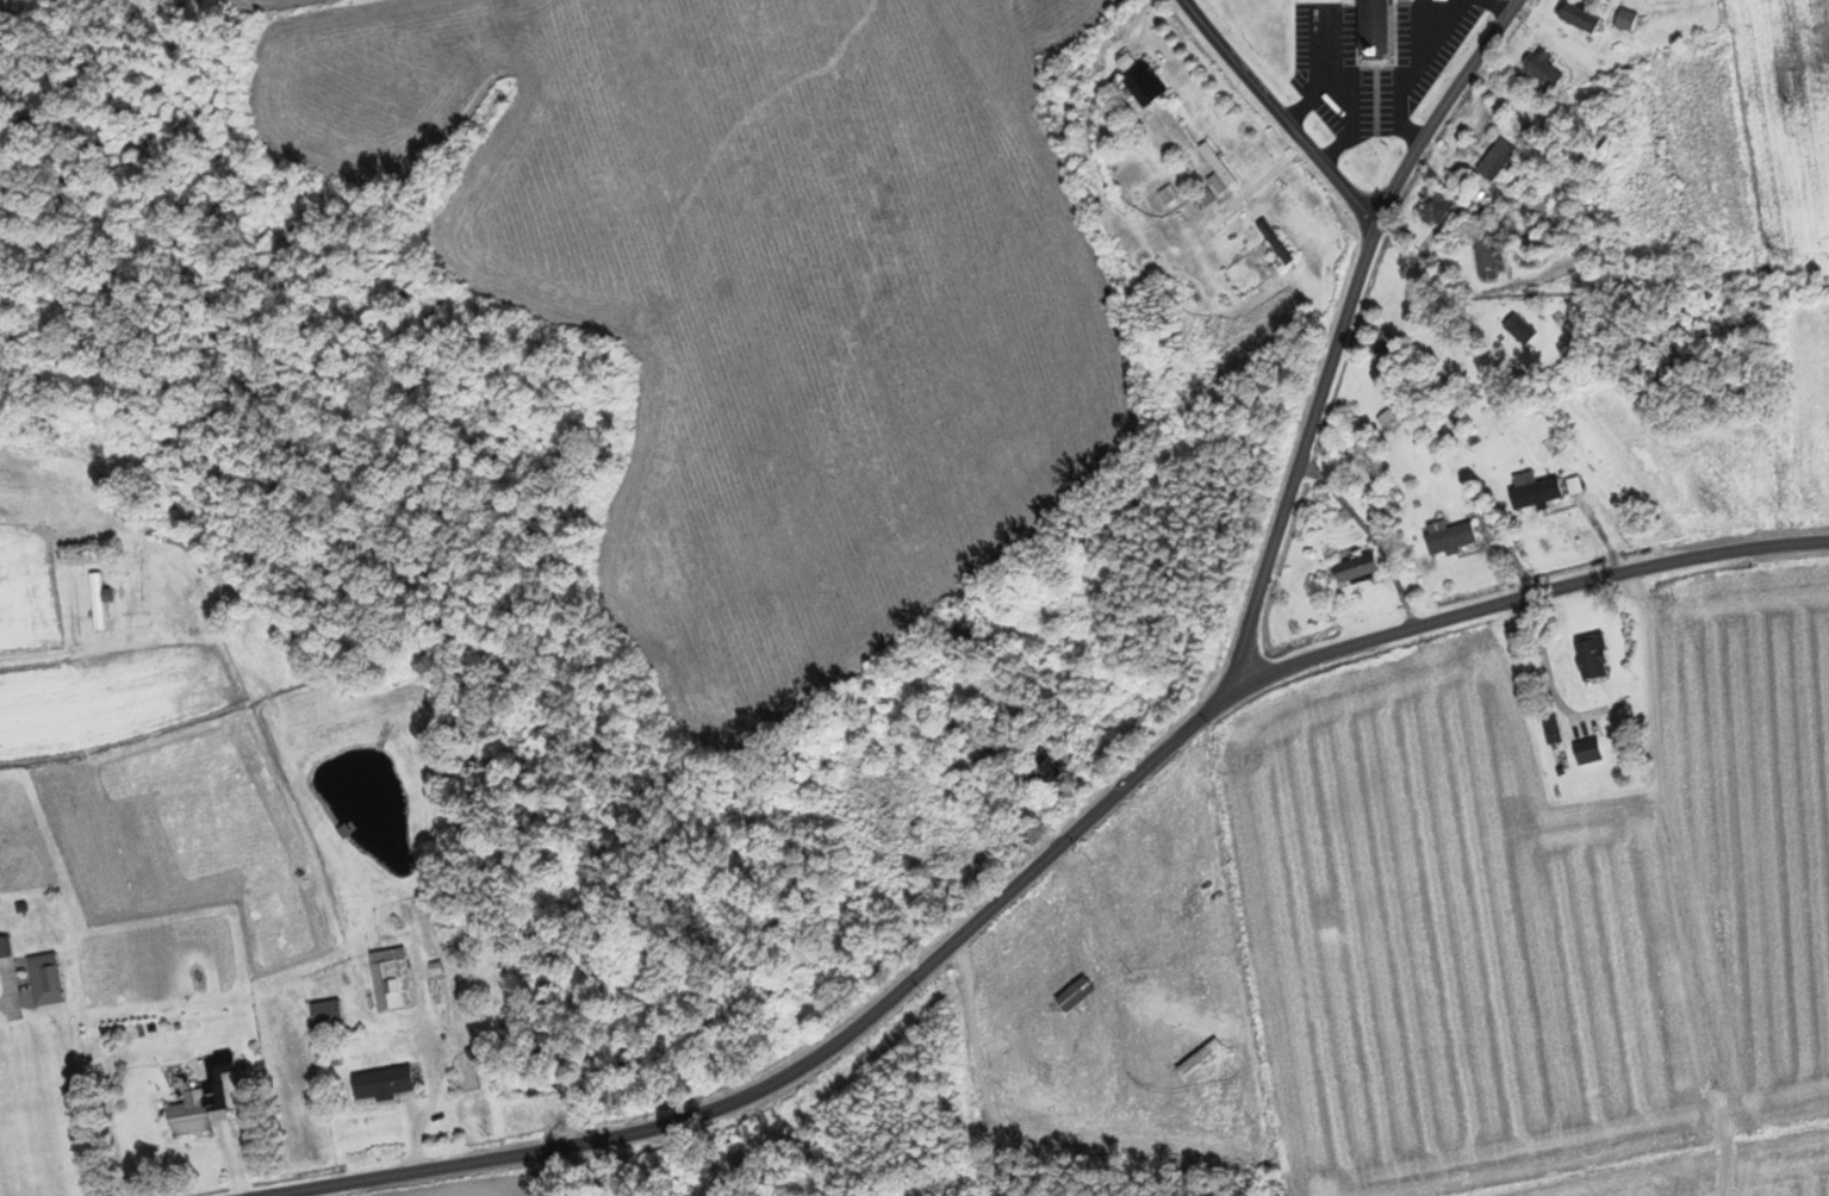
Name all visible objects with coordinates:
building: (1579, 15)
building: (1622, 18)
building: (1373, 29)
building: (1279, 37)
building: (1542, 68)
building: (1076, 80)
building: (1144, 83)
road: (1281, 112)
building: (1495, 160)
building: (1218, 169)
building: (1168, 194)
building: (1206, 197)
building: (1438, 208)
building: (1275, 241)
building: (1486, 255)
building: (1519, 328)
building: (1388, 419)
road: (1702, 453)
road: (1585, 490)
building: (1535, 491)
building: (1451, 537)
building: (1356, 567)
road: (1520, 594)
building: (97, 599)
road: (172, 628)
road: (24, 641)
building: (1592, 655)
building: (1587, 750)
building: (1043, 772)
road: (1087, 820)
building: (5, 948)
road: (1219, 964)
building: (869, 976)
building: (390, 978)
building: (45, 979)
building: (219, 1063)
road: (964, 1072)
building: (381, 1084)
building: (189, 1113)
road: (412, 1125)
road: (224, 1130)
road: (979, 1195)

